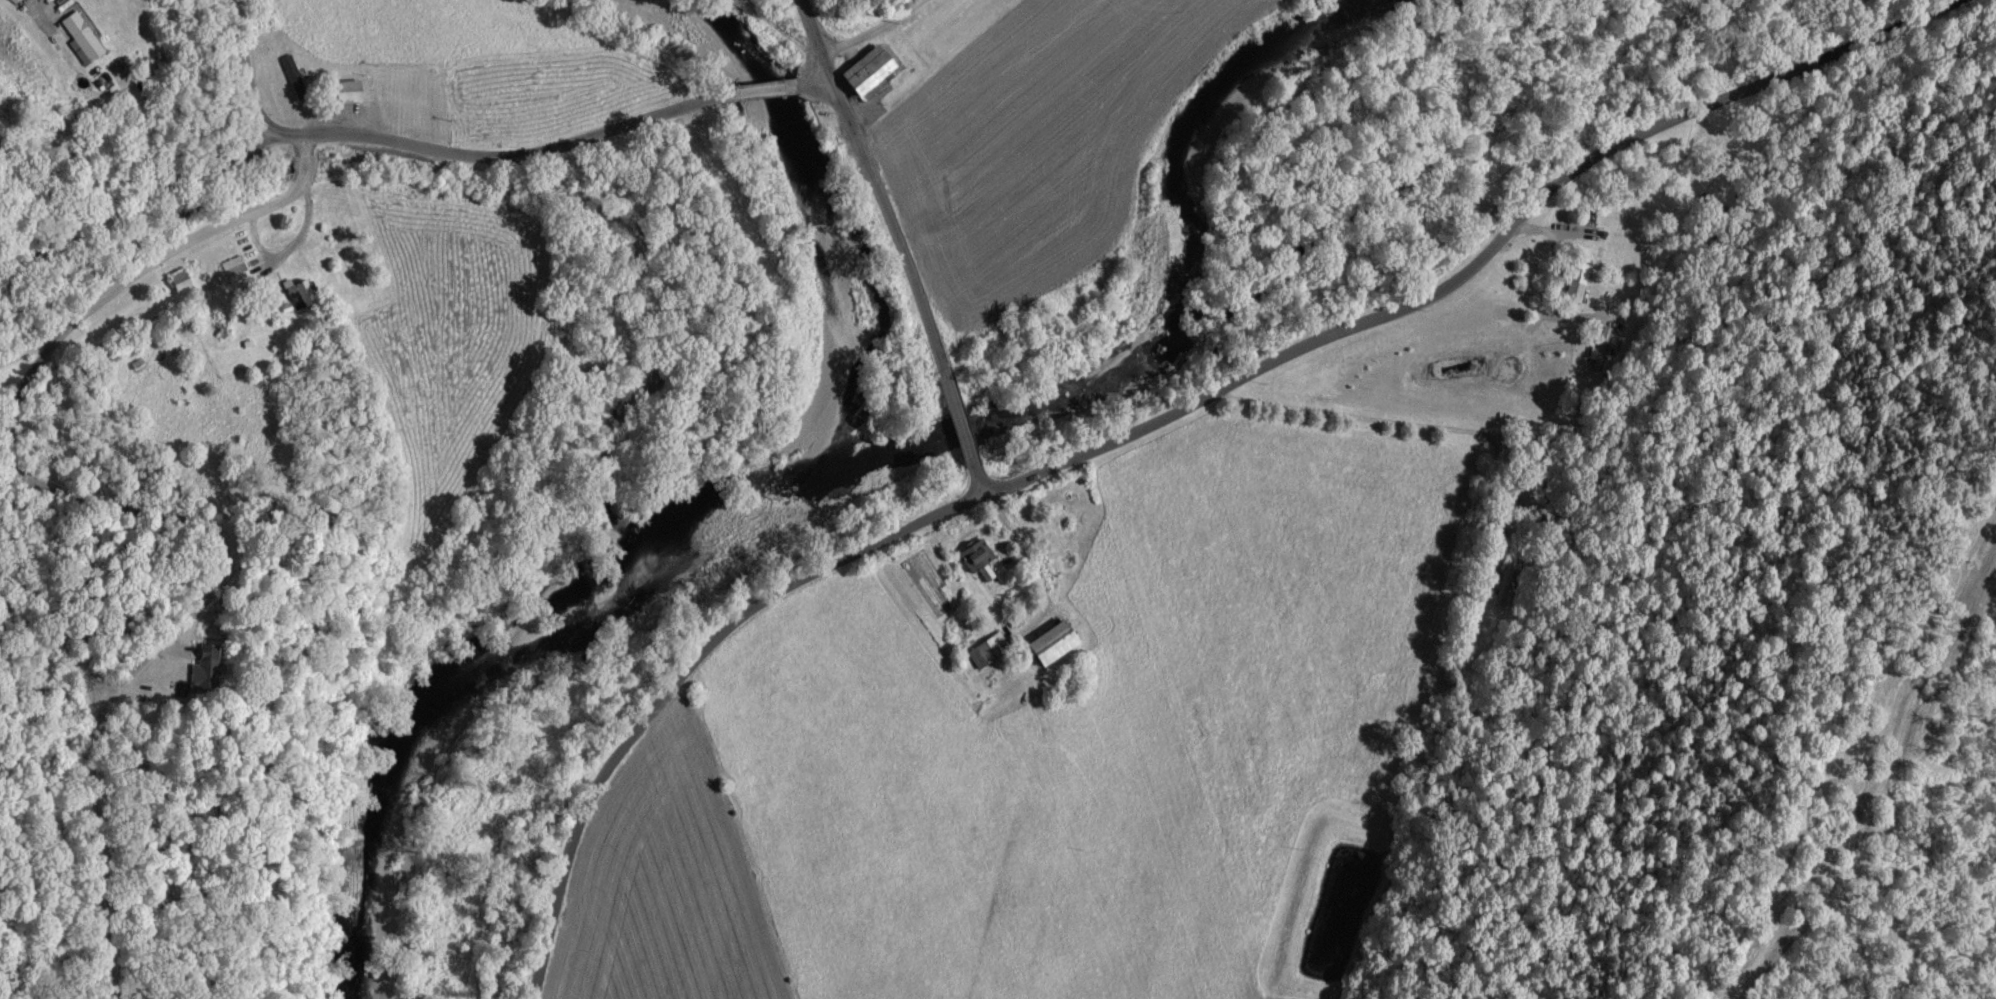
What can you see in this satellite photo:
road: (35, 8)
road: (882, 33)
road: (817, 34)
building: (77, 39)
road: (249, 66)
building: (858, 74)
road: (814, 78)
road: (761, 91)
building: (339, 93)
road: (285, 132)
crop: (1037, 140)
road: (517, 157)
road: (134, 203)
river: (822, 215)
road: (888, 219)
road: (304, 232)
road: (1474, 265)
building: (231, 272)
building: (177, 284)
building: (1572, 285)
building: (295, 293)
building: (1599, 351)
road: (25, 356)
road: (959, 418)
river: (869, 462)
road: (980, 479)
road: (128, 507)
building: (971, 560)
road: (1031, 561)
building: (1041, 644)
building: (975, 657)
building: (203, 670)
road: (680, 676)
crop: (1035, 752)

